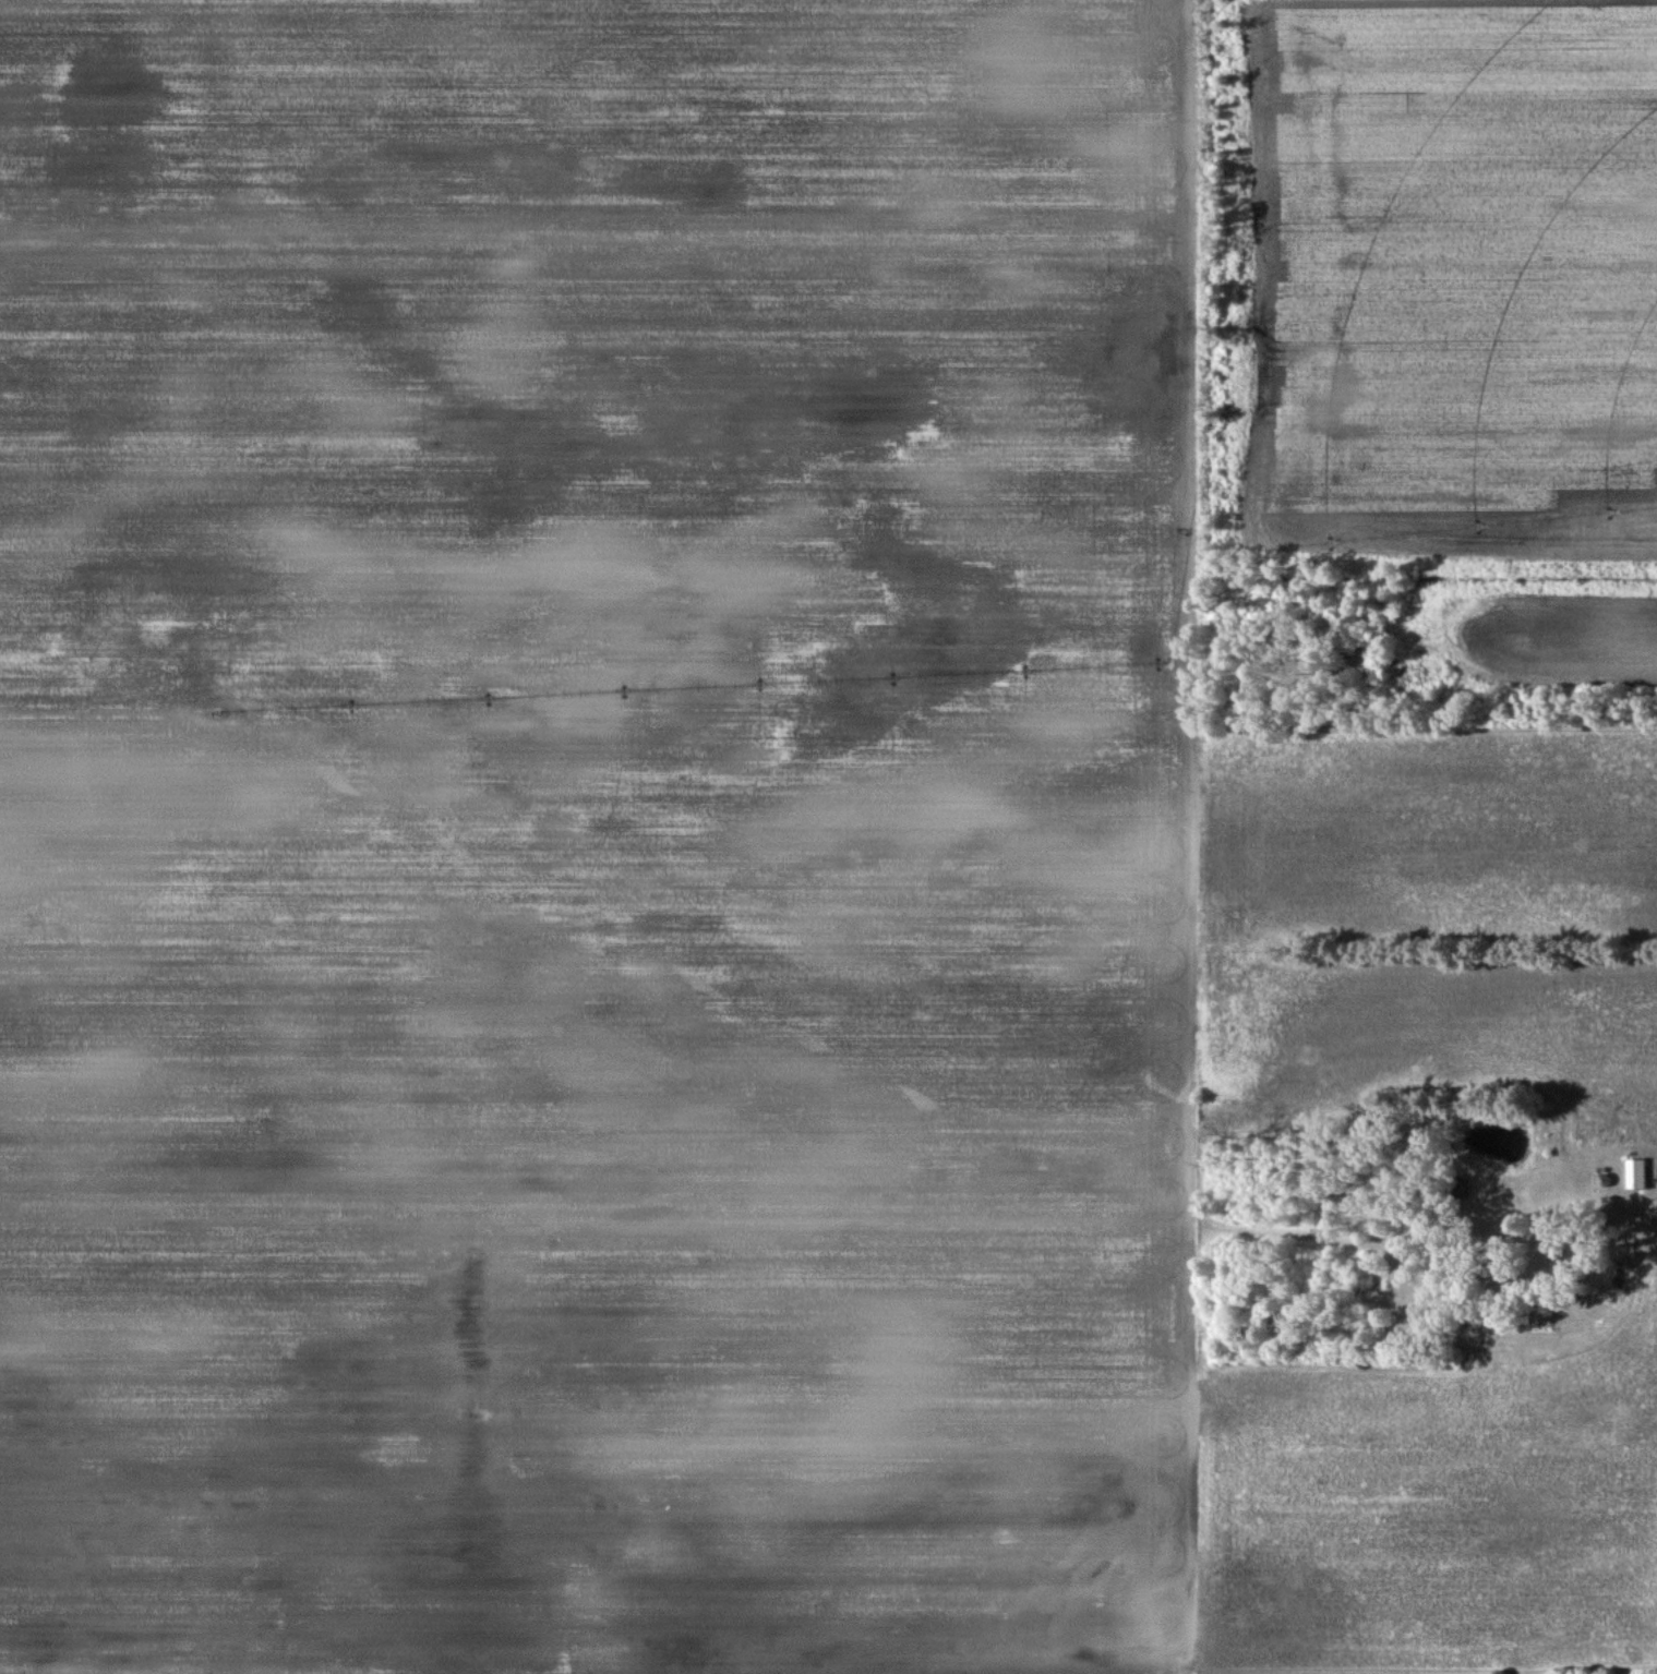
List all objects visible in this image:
building: (1637, 1172)

